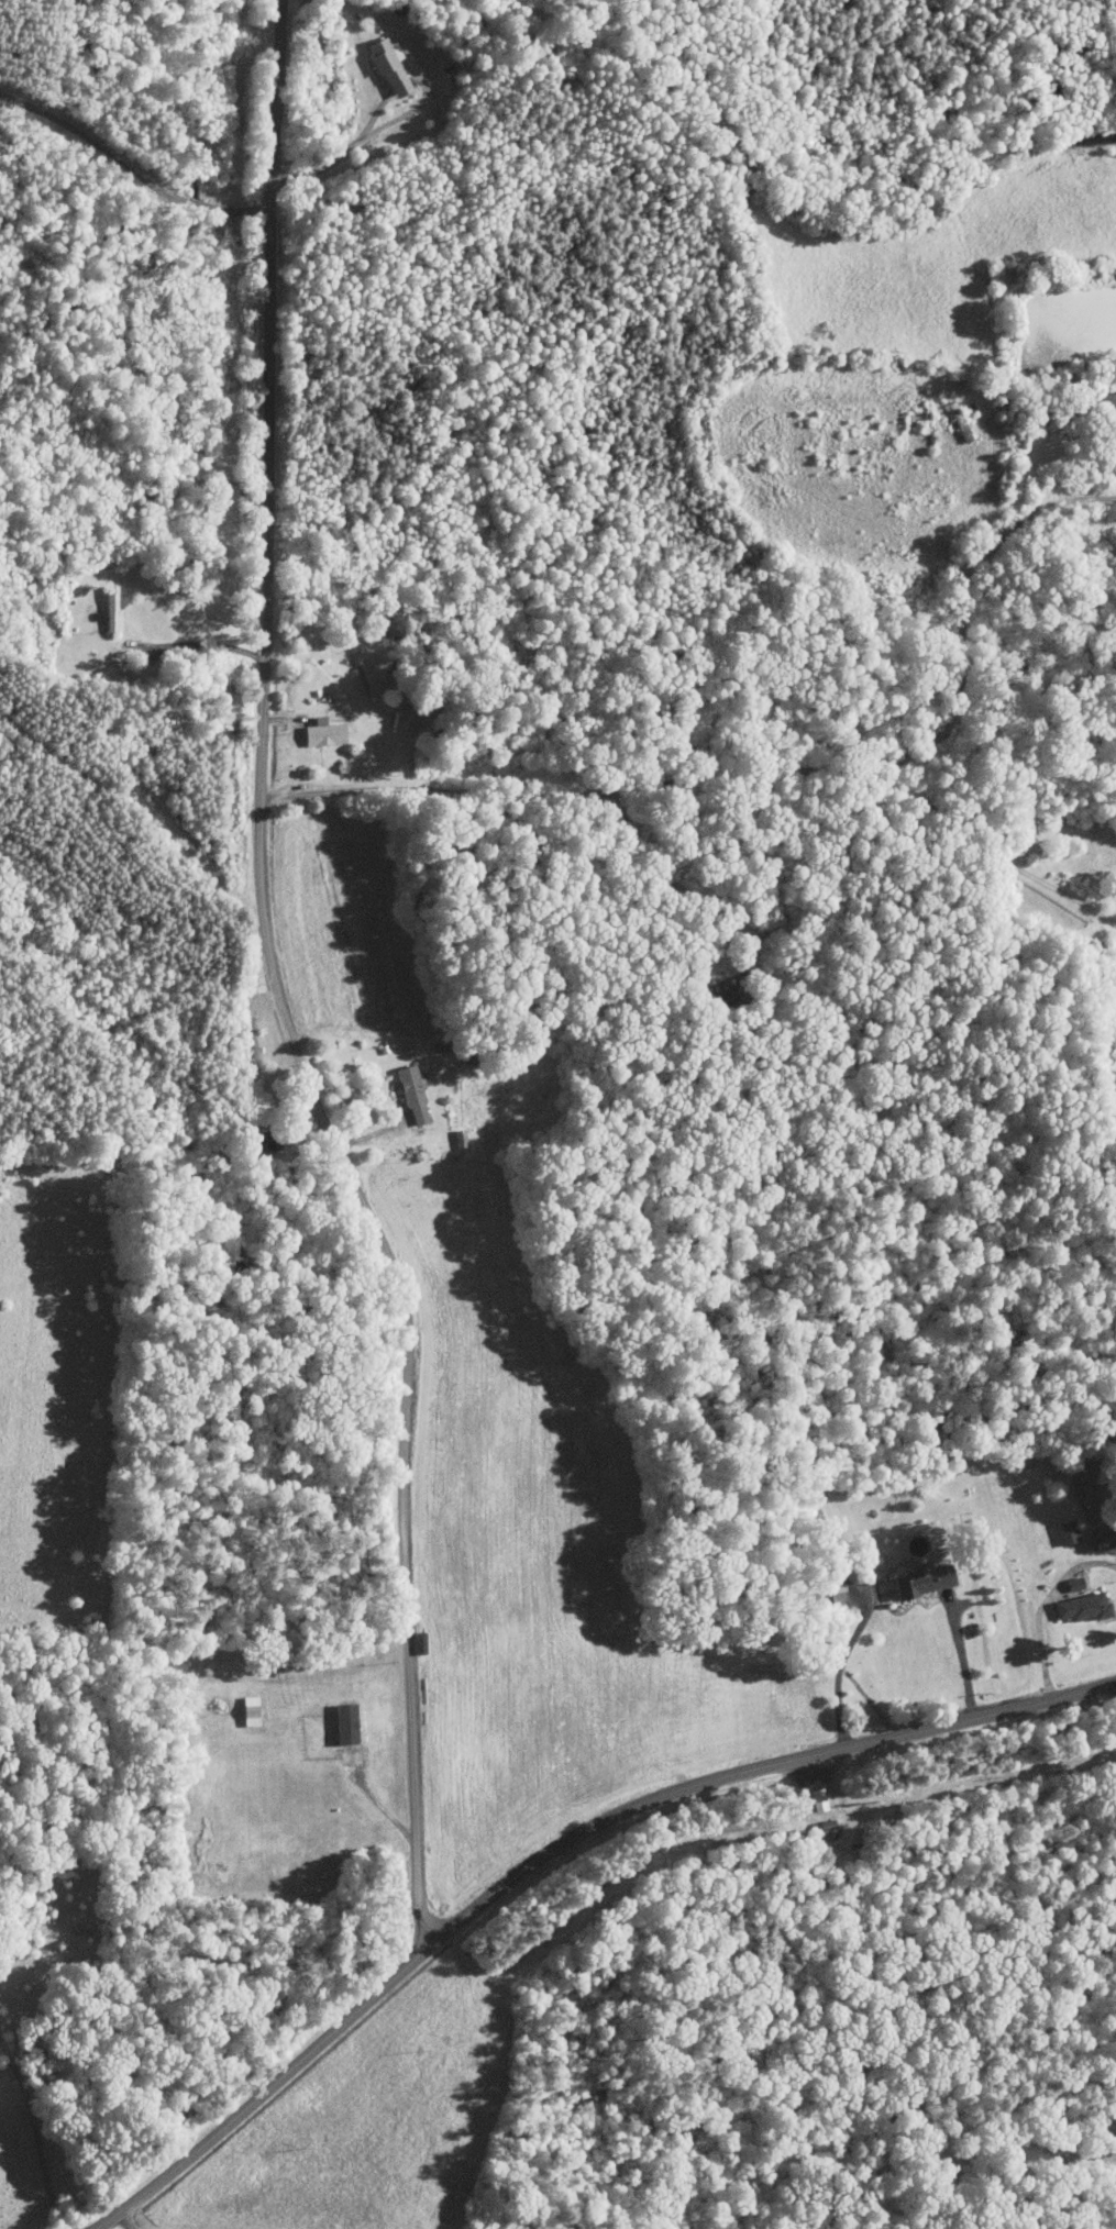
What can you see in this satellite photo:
building: (394, 65)
road: (336, 153)
road: (134, 166)
building: (118, 606)
road: (209, 644)
building: (329, 731)
road: (774, 775)
road: (993, 854)
road: (278, 990)
building: (417, 1094)
building: (1063, 1531)
building: (1100, 1540)
building: (918, 1578)
building: (837, 1595)
road: (1038, 1606)
building: (1080, 1606)
road: (961, 1657)
road: (842, 1663)
building: (352, 1722)
building: (817, 1799)
road: (377, 1803)
road: (552, 1856)
road: (34, 2134)
road: (128, 2226)
road: (133, 2227)

